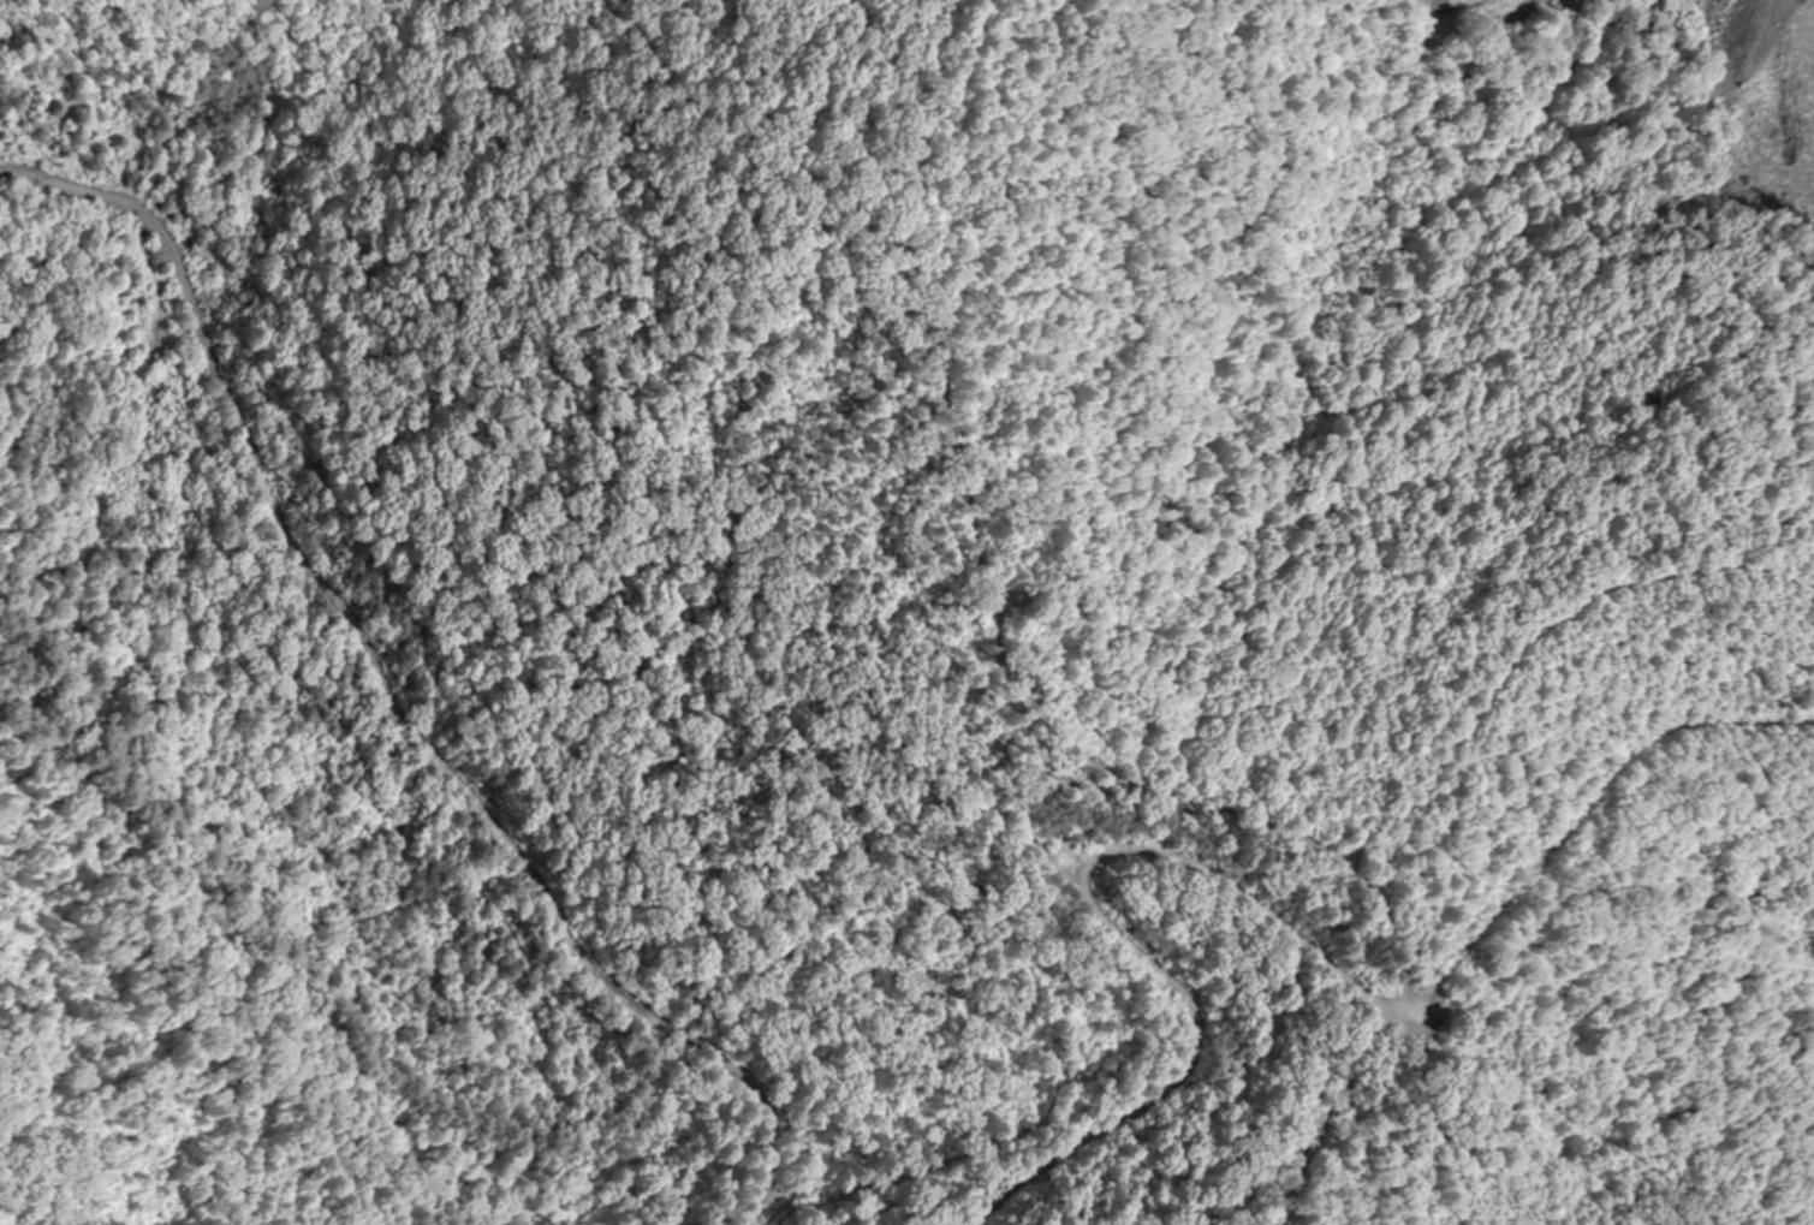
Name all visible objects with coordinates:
road: (1421, 1036)

